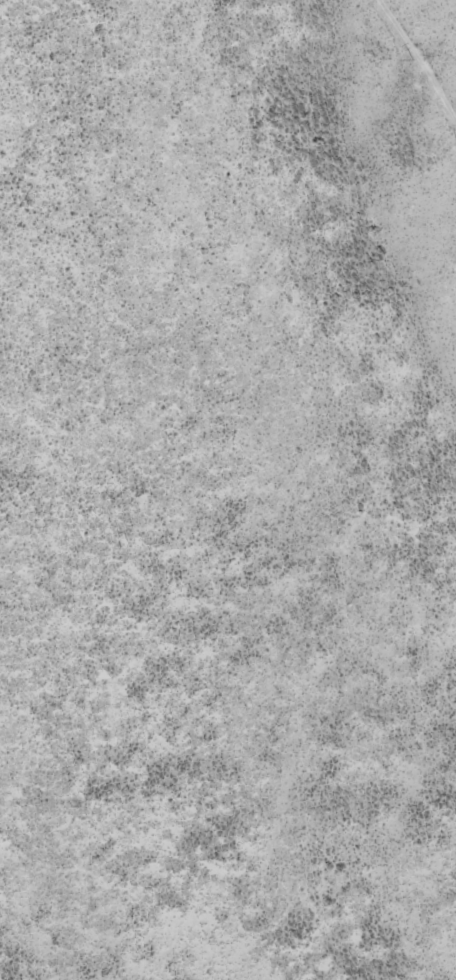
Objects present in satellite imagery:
road: (2, 7)

